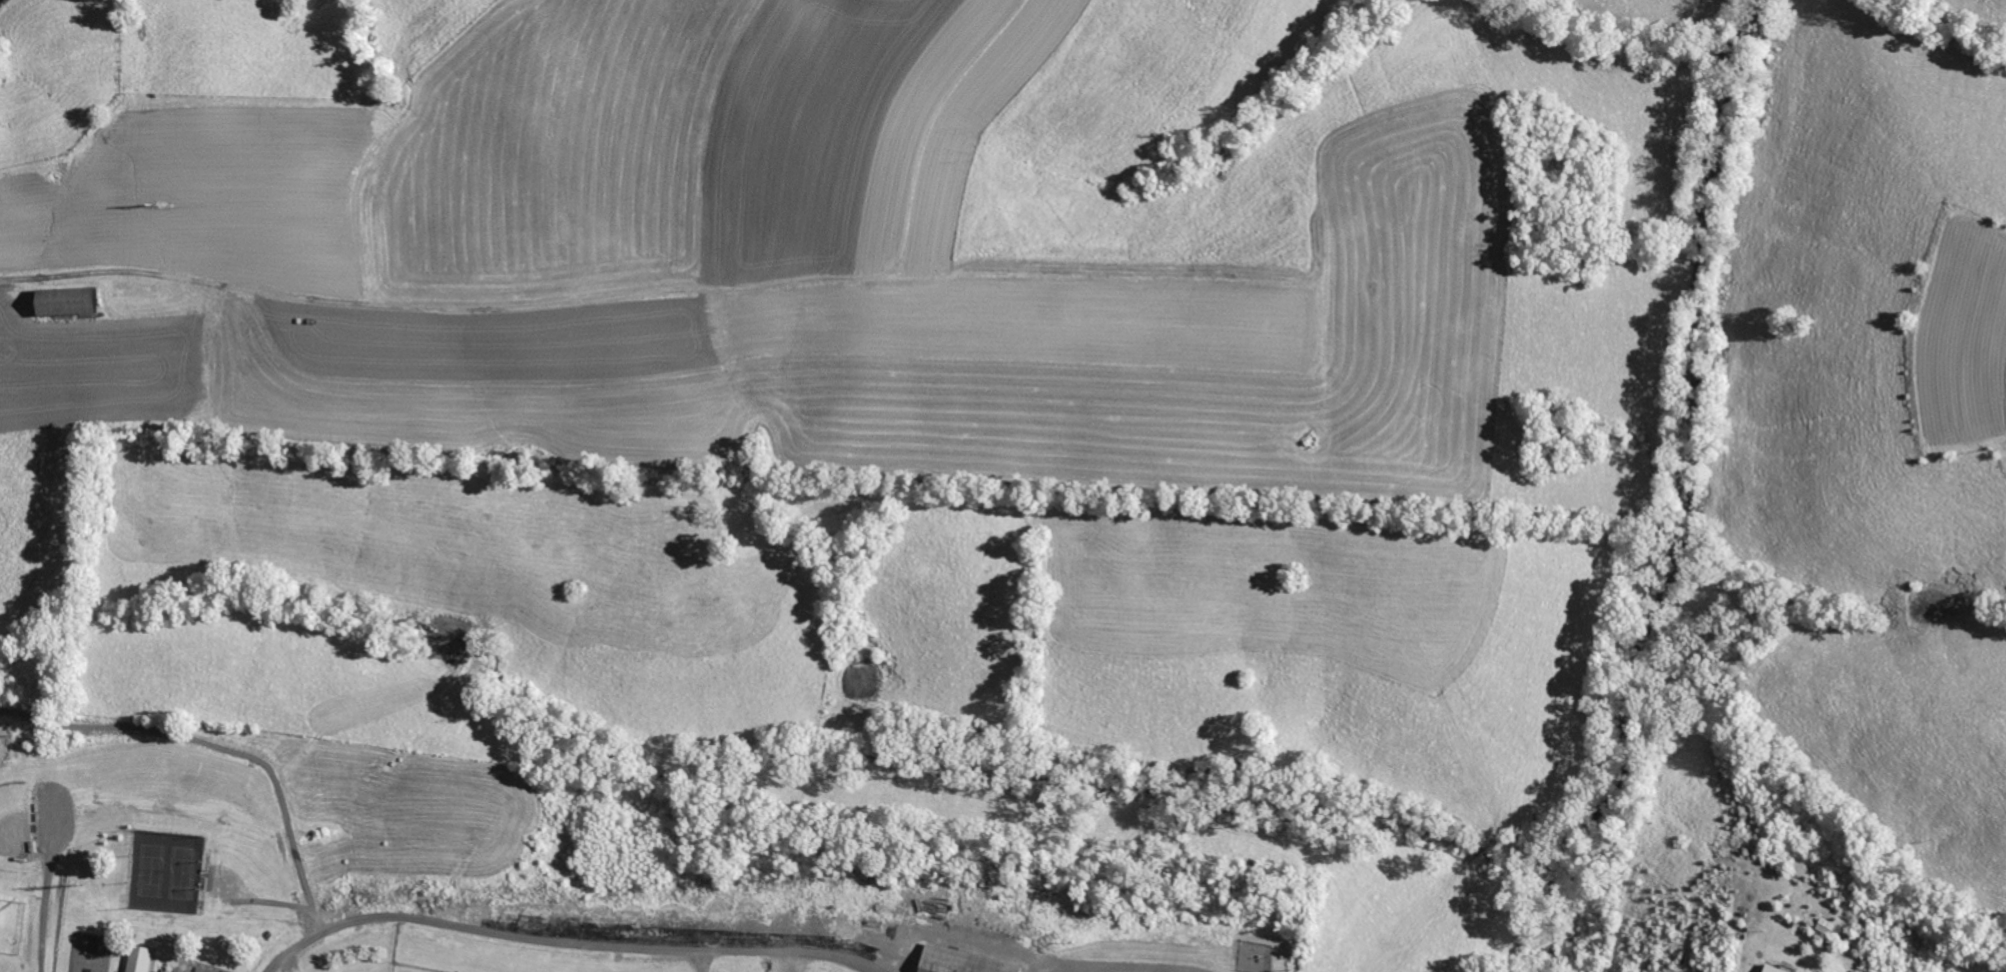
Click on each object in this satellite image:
building: (58, 300)
park: (588, 870)
road: (547, 938)
building: (137, 959)
building: (956, 961)
park: (415, 968)
building: (1767, 969)

